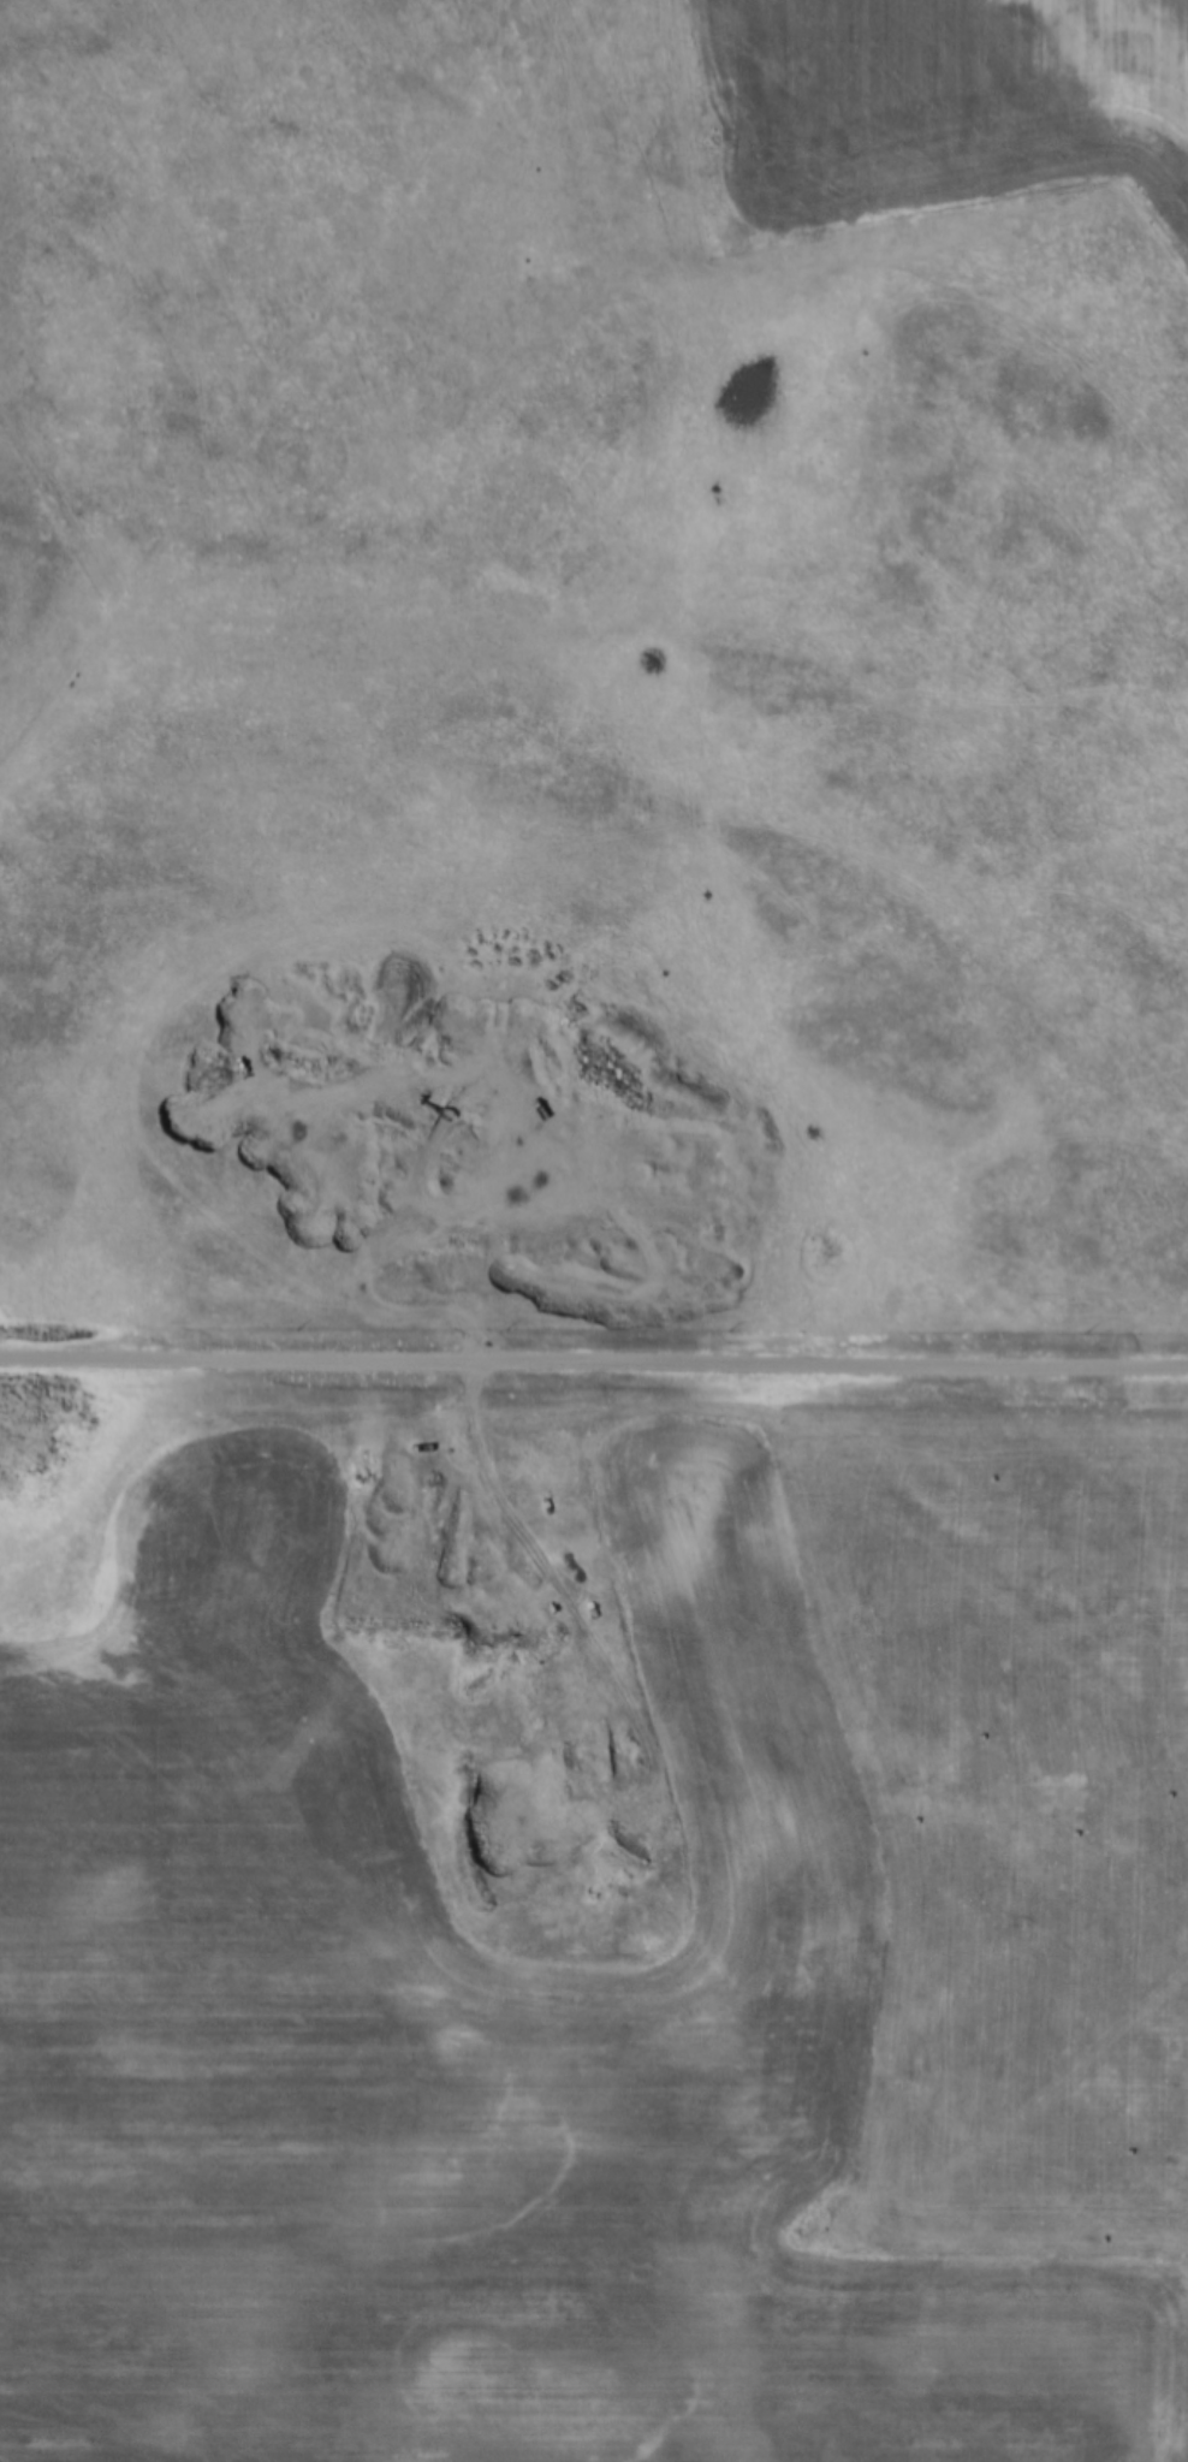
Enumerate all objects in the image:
quarry: (474, 1146)
road: (593, 1361)
quarry: (515, 1695)

